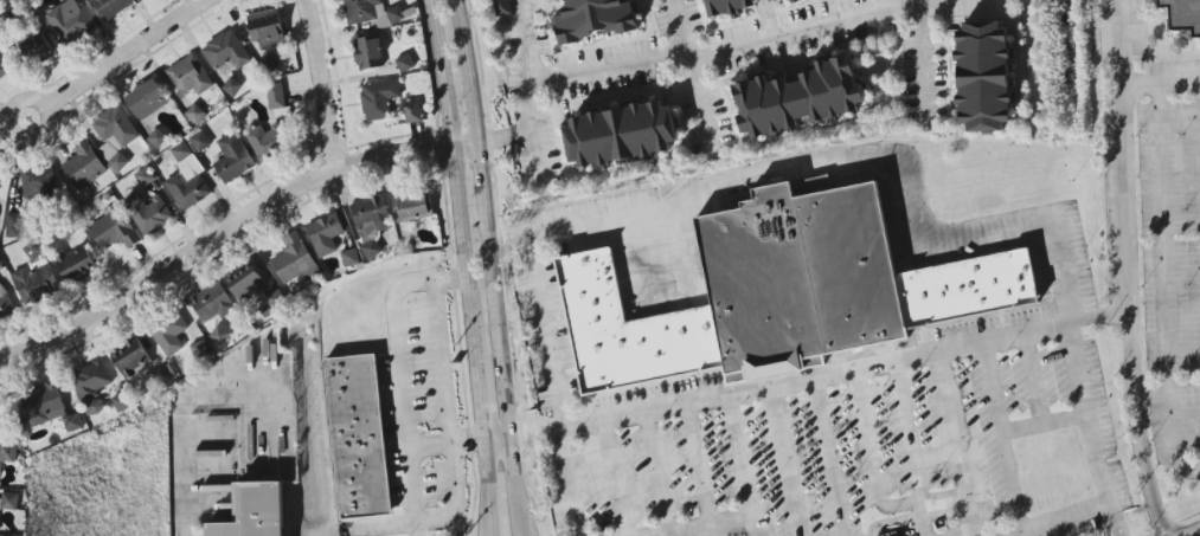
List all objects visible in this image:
building: (775, 0)
building: (791, 0)
building: (725, 4)
building: (110, 7)
building: (501, 7)
building: (368, 12)
building: (593, 17)
building: (1183, 17)
building: (68, 20)
building: (265, 30)
road: (527, 41)
road: (729, 45)
building: (33, 49)
road: (128, 52)
building: (225, 52)
building: (368, 53)
building: (404, 63)
road: (923, 64)
building: (4, 66)
building: (983, 69)
building: (190, 76)
road: (693, 77)
road: (319, 84)
road: (1160, 85)
building: (798, 90)
building: (275, 97)
road: (36, 98)
building: (147, 99)
building: (378, 99)
building: (411, 112)
building: (194, 115)
building: (620, 128)
road: (505, 135)
building: (114, 136)
building: (156, 138)
road: (533, 140)
building: (268, 141)
building: (198, 142)
building: (232, 159)
building: (83, 167)
building: (2, 174)
building: (186, 180)
road: (461, 181)
building: (38, 182)
building: (412, 204)
road: (910, 212)
building: (147, 213)
building: (370, 213)
road: (486, 217)
building: (13, 226)
road: (232, 230)
building: (113, 231)
road: (1162, 232)
building: (325, 234)
building: (370, 250)
building: (351, 258)
building: (296, 260)
building: (75, 264)
building: (1, 266)
road: (1131, 270)
parking lot: (1174, 272)
building: (34, 276)
building: (800, 277)
building: (252, 279)
building: (967, 289)
building: (214, 296)
building: (281, 298)
building: (5, 302)
road: (670, 302)
building: (175, 327)
building: (628, 330)
road: (544, 331)
building: (134, 355)
road: (819, 370)
road: (403, 376)
road: (1033, 376)
building: (95, 383)
building: (4, 396)
building: (126, 400)
road: (482, 401)
building: (50, 402)
road: (448, 414)
building: (2, 419)
building: (77, 419)
road: (1044, 422)
road: (907, 430)
road: (1173, 432)
road: (1001, 435)
road: (496, 437)
building: (361, 439)
road: (958, 440)
road: (448, 443)
road: (783, 446)
building: (11, 450)
road: (739, 453)
road: (829, 453)
parking lot: (866, 456)
road: (699, 461)
road: (657, 470)
road: (614, 476)
road: (875, 478)
road: (185, 480)
road: (566, 480)
building: (1, 484)
road: (513, 485)
road: (487, 486)
building: (14, 499)
building: (252, 511)
road: (919, 519)
road: (1065, 519)
road: (891, 521)
building: (0, 522)
road: (797, 524)
road: (705, 527)
road: (753, 527)
building: (891, 534)

